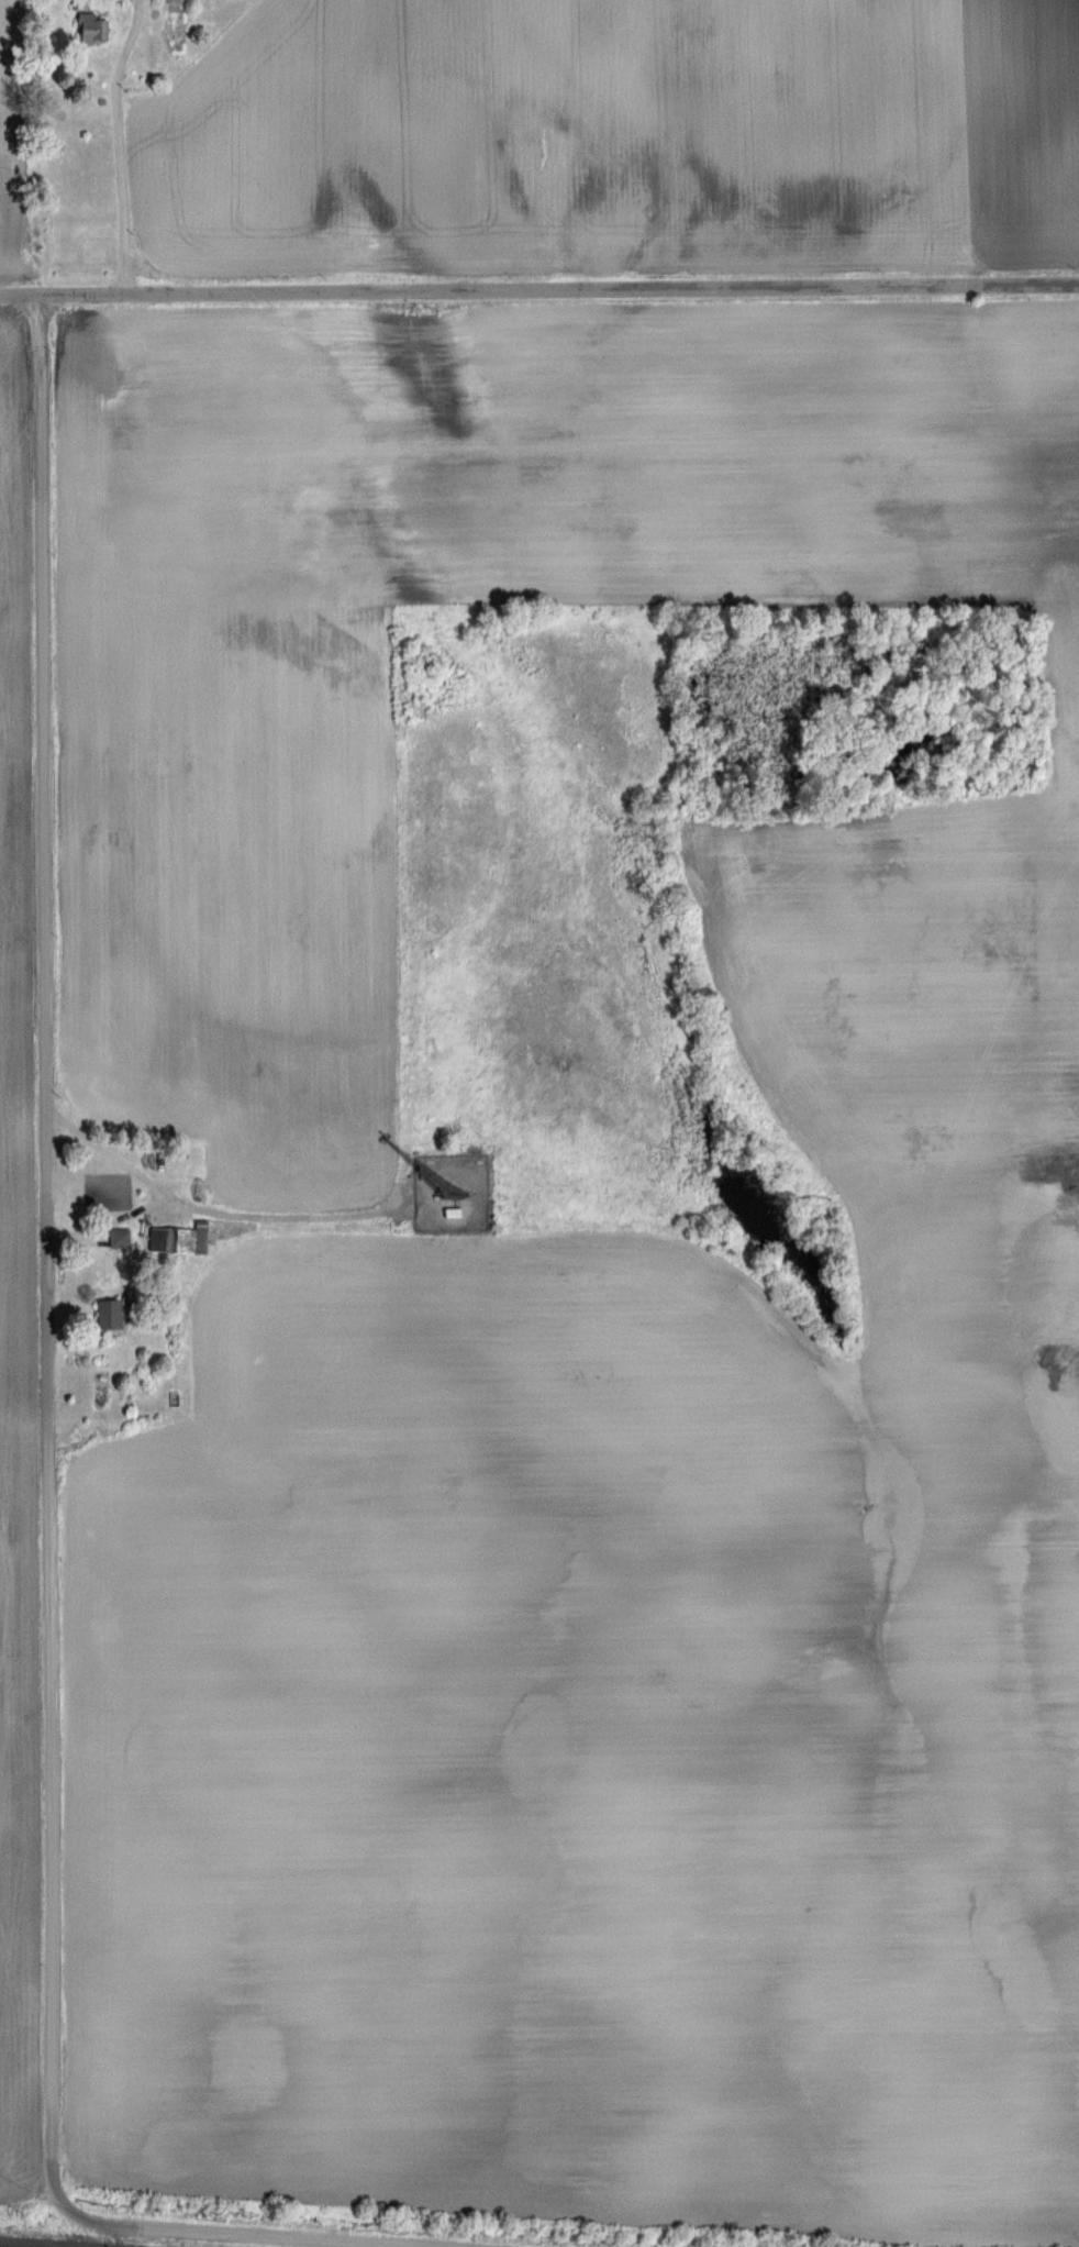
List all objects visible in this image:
building: (176, 25)
building: (90, 29)
road: (114, 145)
road: (538, 288)
road: (203, 1209)
road: (107, 1228)
building: (158, 1239)
building: (109, 1313)
building: (98, 1405)
road: (49, 1438)
railway: (11, 2246)

